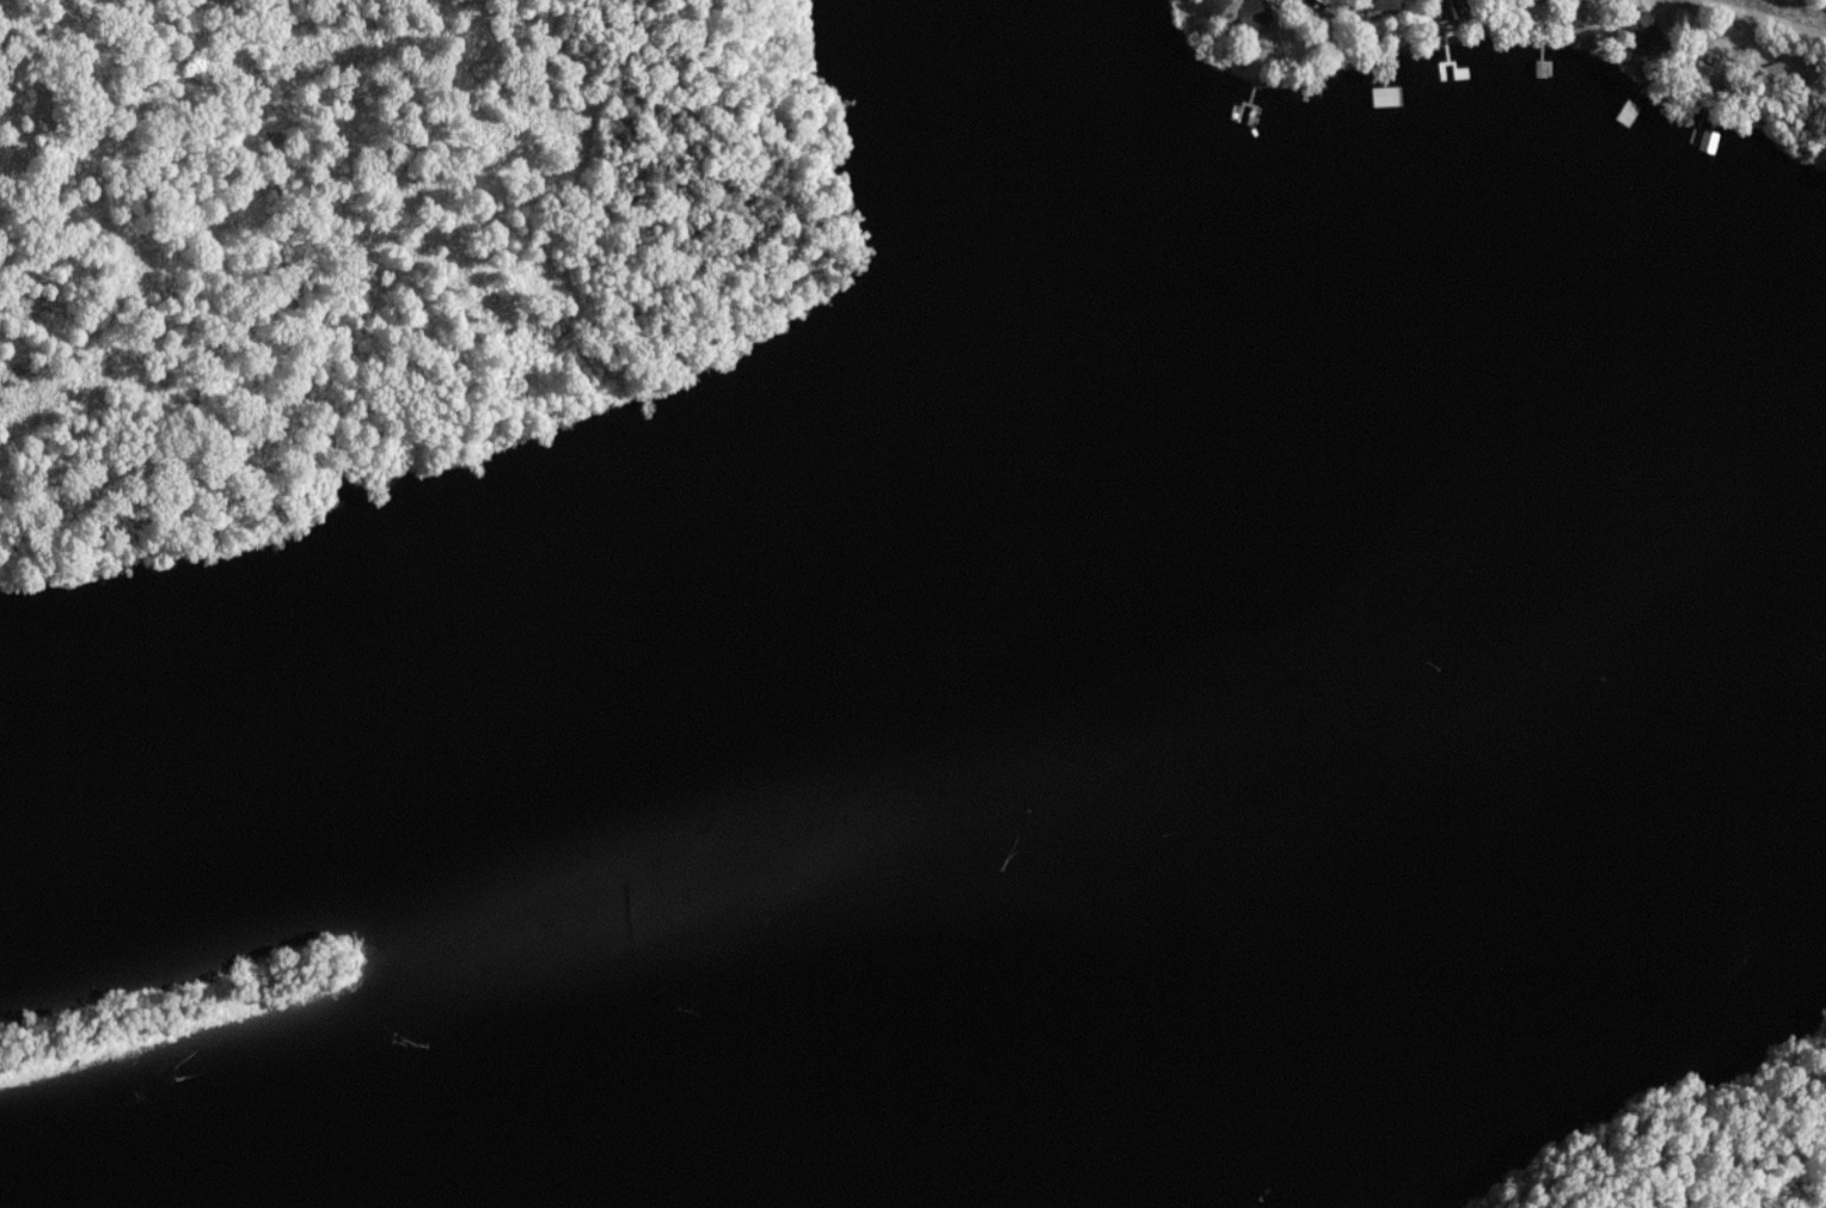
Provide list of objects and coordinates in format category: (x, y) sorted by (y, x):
building: (1256, 16)
road: (1767, 18)
building: (1652, 36)
building: (1777, 78)
building: (1387, 98)
building: (1711, 143)
river: (1226, 1066)

